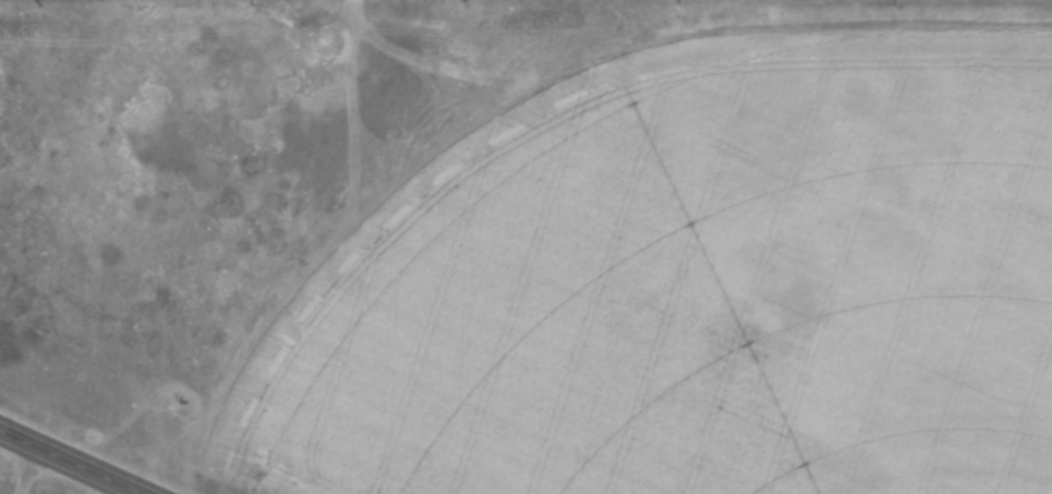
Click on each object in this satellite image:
road: (69, 462)

